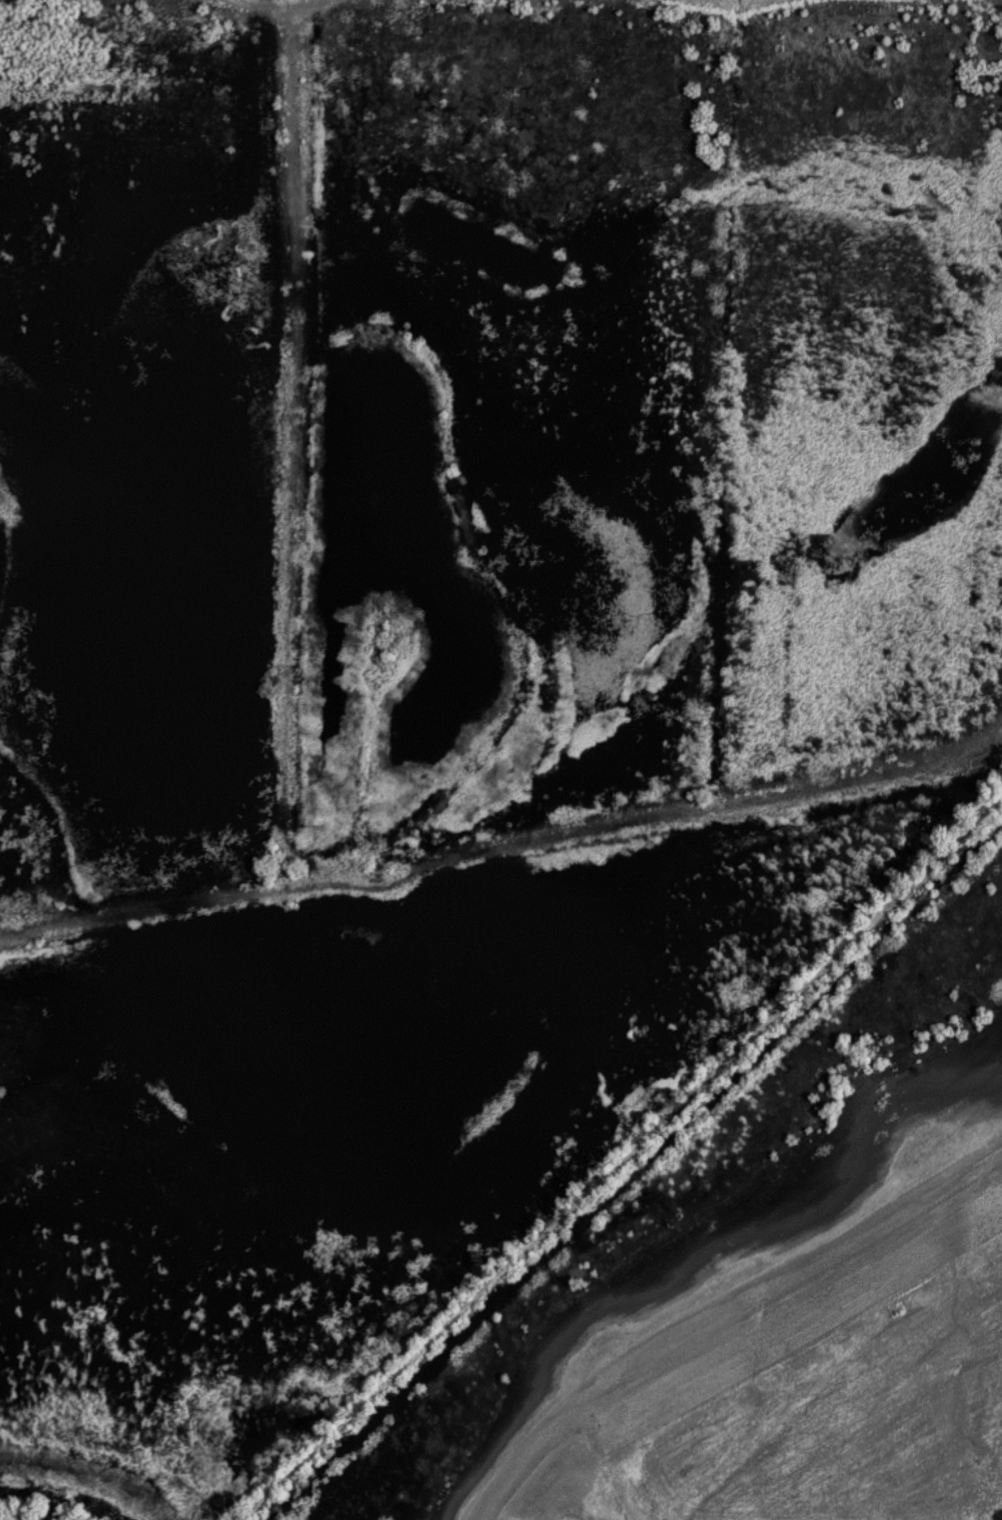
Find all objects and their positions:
road: (730, 3)
road: (284, 793)
road: (182, 910)

